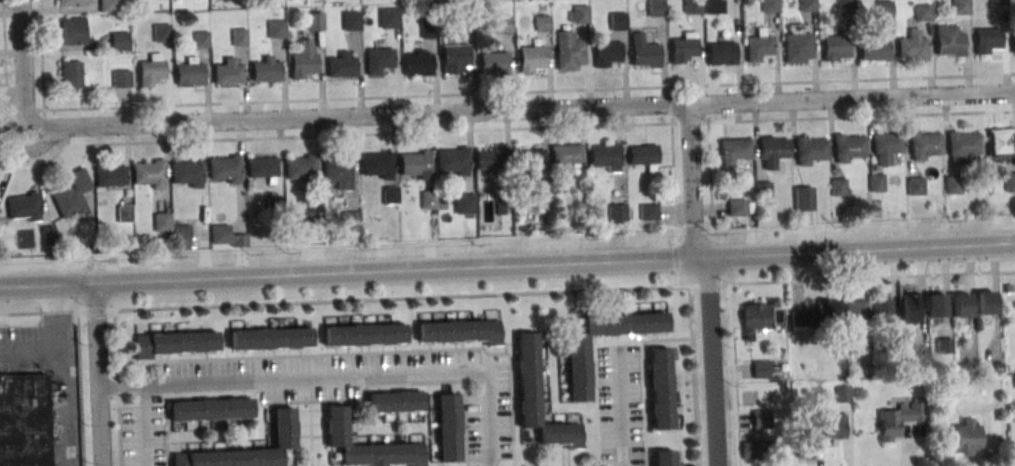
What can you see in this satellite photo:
building: (998, 2)
building: (70, 3)
building: (845, 4)
building: (108, 5)
building: (807, 5)
building: (713, 6)
building: (770, 6)
building: (692, 7)
building: (960, 7)
building: (655, 8)
building: (883, 9)
building: (922, 11)
building: (578, 14)
building: (388, 17)
building: (350, 20)
building: (467, 20)
building: (617, 20)
building: (314, 21)
building: (541, 22)
building: (503, 24)
building: (276, 29)
building: (428, 29)
building: (72, 31)
building: (161, 33)
building: (239, 36)
building: (201, 39)
building: (118, 40)
building: (949, 40)
building: (987, 40)
building: (1013, 43)
building: (797, 47)
building: (836, 47)
building: (871, 47)
building: (911, 47)
building: (682, 48)
building: (758, 48)
road: (5, 50)
building: (568, 51)
building: (643, 51)
building: (606, 52)
road: (41, 54)
building: (721, 54)
building: (454, 57)
building: (531, 58)
building: (377, 59)
building: (303, 61)
building: (493, 62)
building: (416, 63)
road: (23, 65)
building: (343, 66)
building: (151, 69)
building: (266, 70)
building: (189, 71)
building: (228, 72)
building: (72, 74)
building: (121, 78)
road: (529, 91)
road: (851, 101)
road: (862, 115)
road: (358, 121)
road: (413, 131)
building: (1000, 142)
building: (923, 146)
building: (962, 146)
building: (885, 147)
building: (848, 149)
building: (734, 150)
building: (772, 150)
building: (811, 150)
building: (566, 153)
building: (644, 155)
building: (490, 157)
building: (528, 158)
building: (606, 158)
building: (452, 160)
building: (376, 164)
building: (414, 165)
building: (262, 166)
building: (301, 168)
building: (225, 170)
building: (335, 171)
building: (186, 172)
building: (110, 175)
building: (151, 175)
building: (1009, 180)
building: (876, 182)
road: (691, 184)
road: (711, 184)
building: (915, 185)
building: (952, 185)
building: (838, 187)
building: (763, 190)
building: (71, 194)
building: (390, 195)
building: (542, 198)
building: (803, 198)
building: (428, 200)
building: (503, 202)
building: (464, 203)
building: (275, 206)
building: (25, 209)
building: (736, 209)
building: (648, 211)
building: (617, 212)
building: (124, 213)
building: (312, 213)
building: (350, 222)
building: (162, 223)
building: (48, 236)
building: (225, 236)
building: (181, 238)
road: (858, 253)
road: (351, 276)
road: (507, 292)
building: (984, 302)
building: (935, 304)
building: (960, 304)
building: (908, 307)
building: (882, 311)
building: (855, 313)
building: (816, 314)
building: (755, 317)
building: (778, 317)
building: (459, 330)
building: (364, 334)
road: (96, 337)
building: (269, 338)
road: (666, 340)
building: (175, 343)
road: (618, 343)
building: (944, 345)
road: (35, 347)
building: (893, 347)
road: (368, 352)
building: (920, 354)
road: (711, 363)
building: (577, 368)
building: (760, 368)
road: (734, 374)
road: (694, 375)
road: (338, 376)
road: (71, 377)
building: (526, 377)
road: (118, 387)
road: (81, 388)
building: (660, 388)
building: (843, 393)
building: (394, 400)
road: (322, 401)
building: (210, 408)
road: (624, 409)
building: (23, 419)
building: (761, 419)
building: (898, 419)
road: (100, 427)
building: (447, 427)
building: (283, 428)
building: (835, 428)
road: (310, 434)
road: (370, 434)
building: (966, 436)
road: (231, 439)
building: (366, 444)
building: (806, 444)
building: (759, 449)
building: (663, 457)

